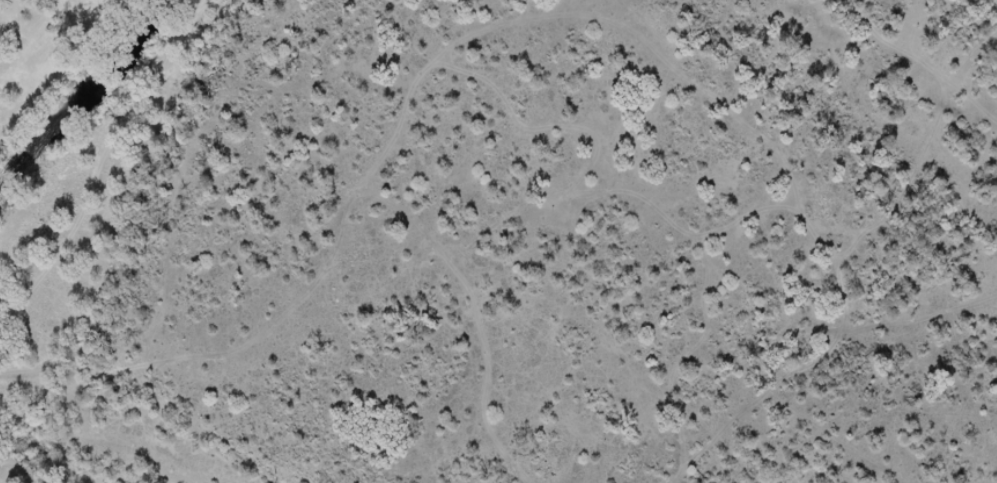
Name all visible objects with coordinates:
river: (83, 101)

